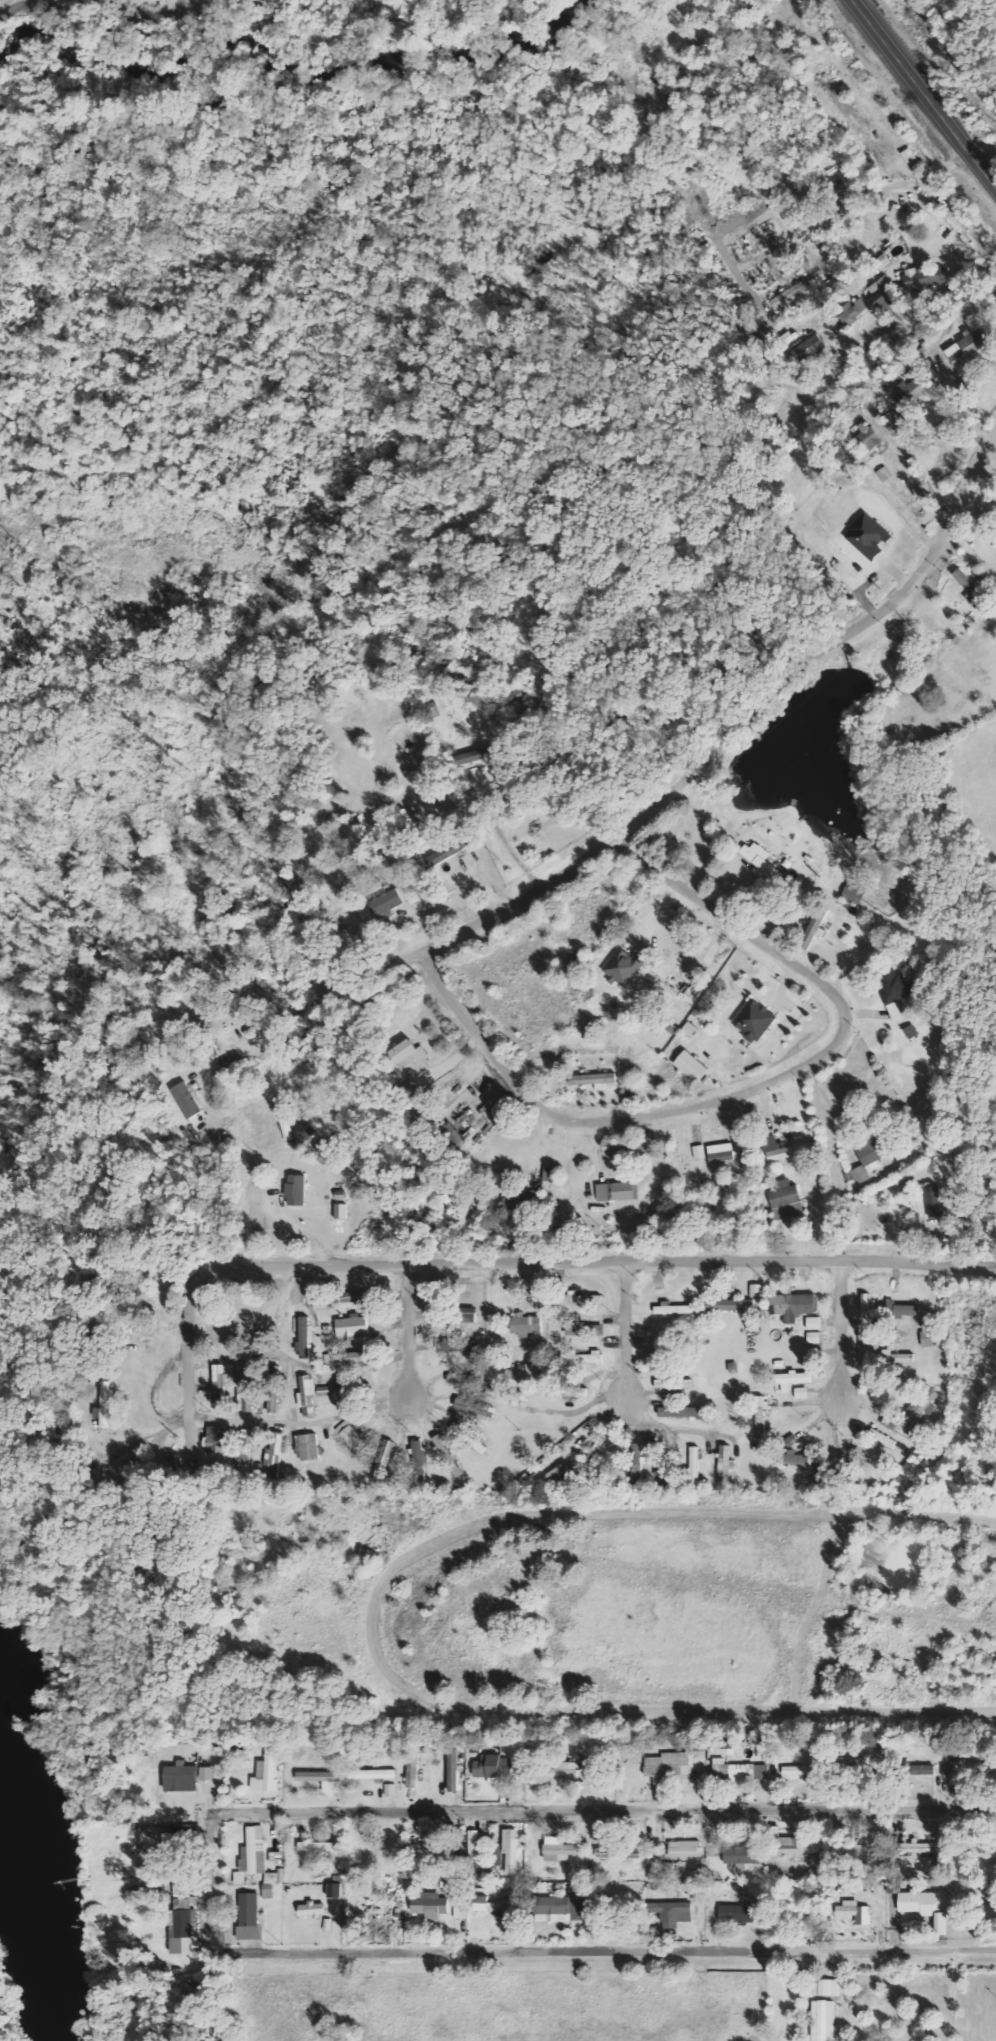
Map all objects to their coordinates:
road: (922, 94)
building: (882, 261)
building: (924, 277)
building: (798, 289)
building: (880, 291)
building: (851, 312)
building: (836, 326)
building: (804, 347)
building: (966, 347)
building: (865, 435)
building: (866, 535)
road: (741, 724)
building: (472, 756)
building: (446, 852)
building: (760, 861)
building: (851, 896)
building: (385, 903)
building: (814, 926)
building: (622, 967)
road: (387, 973)
building: (892, 991)
building: (236, 1005)
building: (752, 1020)
building: (909, 1032)
building: (410, 1058)
building: (690, 1066)
building: (592, 1079)
road: (758, 1089)
building: (184, 1099)
building: (450, 1135)
building: (782, 1149)
building: (699, 1152)
building: (721, 1152)
building: (864, 1162)
building: (548, 1174)
building: (295, 1190)
building: (618, 1191)
building: (785, 1200)
building: (522, 1201)
building: (932, 1201)
building: (340, 1211)
road: (602, 1261)
building: (756, 1290)
building: (346, 1297)
building: (579, 1299)
building: (728, 1303)
building: (864, 1303)
building: (792, 1305)
building: (673, 1309)
building: (902, 1309)
building: (468, 1315)
building: (526, 1324)
building: (351, 1326)
building: (583, 1329)
building: (303, 1336)
road: (630, 1337)
road: (846, 1337)
building: (925, 1339)
road: (414, 1340)
building: (457, 1345)
building: (346, 1357)
building: (583, 1357)
building: (896, 1357)
road: (195, 1365)
building: (532, 1370)
building: (275, 1372)
building: (465, 1379)
building: (790, 1379)
building: (673, 1383)
building: (219, 1385)
building: (324, 1391)
building: (569, 1391)
building: (801, 1393)
building: (508, 1394)
building: (306, 1396)
building: (244, 1401)
building: (271, 1401)
building: (106, 1405)
building: (474, 1407)
building: (919, 1408)
building: (682, 1412)
building: (760, 1418)
building: (467, 1436)
building: (352, 1438)
building: (882, 1438)
building: (217, 1440)
building: (307, 1446)
building: (275, 1449)
building: (245, 1450)
building: (448, 1455)
building: (384, 1458)
building: (799, 1459)
building: (418, 1460)
building: (724, 1460)
building: (694, 1463)
building: (637, 1464)
building: (552, 1474)
building: (962, 1752)
building: (666, 1764)
building: (493, 1767)
building: (452, 1768)
building: (564, 1768)
building: (412, 1769)
building: (921, 1769)
building: (268, 1770)
building: (794, 1770)
building: (747, 1771)
building: (205, 1773)
building: (373, 1774)
building: (319, 1776)
building: (179, 1777)
building: (391, 1789)
road: (608, 1814)
building: (473, 1844)
building: (318, 1846)
building: (797, 1846)
building: (556, 1848)
building: (684, 1848)
building: (921, 1848)
building: (859, 1849)
building: (254, 1851)
building: (510, 1851)
building: (618, 1853)
building: (740, 1853)
building: (497, 1854)
building: (274, 1877)
road: (222, 1881)
building: (333, 1889)
building: (429, 1904)
building: (490, 1904)
building: (924, 1906)
building: (560, 1907)
building: (851, 1908)
building: (311, 1909)
building: (987, 1910)
building: (460, 1912)
building: (671, 1912)
building: (735, 1913)
building: (247, 1916)
building: (327, 1924)
building: (179, 1926)
road: (607, 1952)
building: (825, 1987)
building: (821, 2020)

